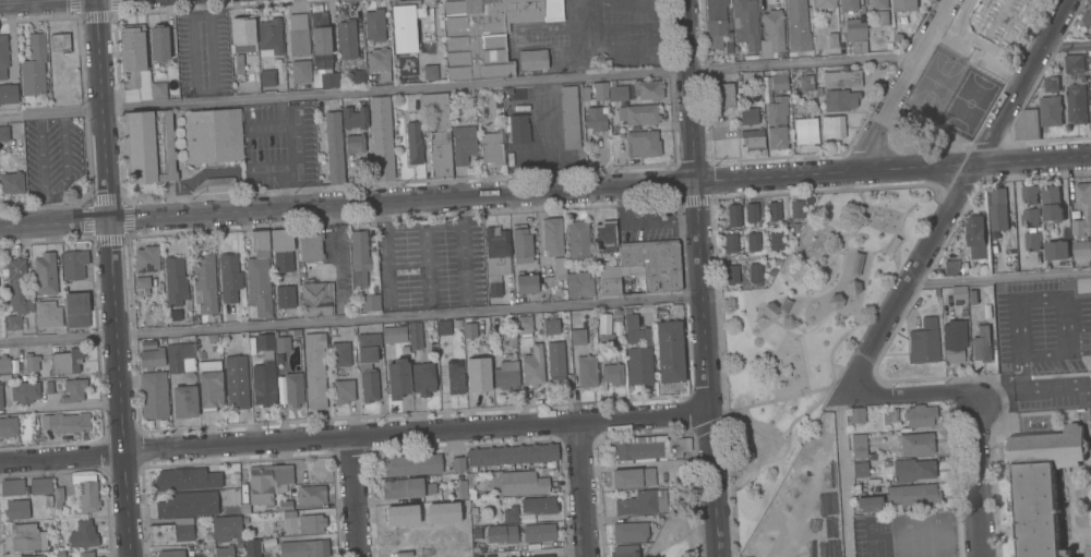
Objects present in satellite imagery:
road: (37, 1)
building: (824, 3)
building: (880, 3)
building: (848, 4)
building: (904, 9)
building: (883, 17)
building: (1087, 17)
building: (716, 22)
building: (745, 23)
building: (405, 25)
building: (376, 26)
building: (796, 27)
building: (853, 29)
building: (487, 33)
building: (242, 34)
building: (771, 34)
building: (298, 35)
building: (269, 38)
building: (898, 38)
building: (347, 39)
building: (831, 39)
building: (320, 40)
building: (59, 44)
building: (158, 44)
road: (1066, 45)
building: (859, 47)
building: (890, 47)
building: (425, 48)
building: (3, 57)
building: (1089, 59)
building: (532, 60)
building: (134, 62)
building: (238, 62)
building: (379, 62)
building: (1074, 63)
building: (33, 66)
building: (300, 72)
building: (429, 72)
park: (967, 72)
building: (356, 76)
building: (267, 77)
building: (1090, 78)
building: (328, 80)
building: (805, 82)
building: (370, 83)
building: (778, 83)
road: (899, 83)
building: (1052, 84)
road: (456, 86)
building: (647, 89)
road: (688, 89)
building: (158, 90)
building: (840, 90)
building: (600, 92)
building: (8, 94)
building: (620, 94)
building: (586, 96)
building: (722, 96)
building: (1090, 98)
building: (1076, 104)
building: (1030, 109)
building: (777, 111)
building: (1050, 111)
building: (637, 116)
building: (747, 116)
building: (355, 118)
building: (568, 118)
building: (595, 119)
building: (1027, 125)
building: (831, 126)
building: (518, 129)
building: (805, 131)
building: (3, 133)
building: (212, 135)
building: (439, 136)
building: (381, 137)
building: (777, 137)
building: (753, 140)
building: (412, 143)
building: (355, 144)
building: (463, 144)
building: (643, 144)
building: (169, 146)
building: (144, 147)
building: (334, 147)
building: (491, 148)
road: (289, 157)
building: (525, 157)
road: (892, 168)
building: (11, 183)
building: (215, 185)
road: (955, 195)
building: (1030, 195)
road: (47, 196)
road: (347, 204)
building: (1052, 204)
building: (795, 209)
building: (997, 209)
road: (43, 211)
building: (774, 211)
building: (751, 213)
building: (1087, 215)
building: (1030, 217)
building: (730, 218)
road: (420, 223)
road: (642, 223)
building: (794, 227)
building: (976, 231)
building: (995, 234)
building: (551, 237)
building: (606, 237)
building: (577, 240)
building: (254, 241)
building: (776, 241)
building: (1032, 241)
building: (753, 242)
building: (520, 243)
building: (730, 243)
building: (310, 246)
road: (460, 247)
building: (1081, 249)
building: (281, 250)
building: (1056, 250)
road: (383, 253)
building: (359, 258)
building: (495, 258)
building: (146, 259)
road: (714, 261)
building: (73, 265)
building: (559, 266)
building: (651, 266)
building: (951, 268)
building: (300, 269)
building: (755, 273)
building: (45, 274)
building: (301, 275)
building: (732, 275)
building: (229, 277)
road: (112, 278)
road: (997, 278)
building: (204, 280)
building: (610, 280)
building: (175, 281)
building: (142, 282)
building: (526, 283)
building: (579, 284)
building: (259, 286)
building: (16, 292)
building: (958, 294)
building: (285, 295)
building: (972, 296)
building: (316, 299)
road: (425, 302)
building: (370, 303)
road: (466, 306)
building: (76, 310)
road: (387, 312)
building: (618, 313)
building: (47, 314)
building: (175, 315)
building: (159, 319)
building: (195, 319)
road: (350, 320)
building: (601, 324)
building: (524, 326)
building: (443, 327)
building: (551, 327)
building: (469, 330)
park: (806, 330)
building: (296, 332)
building: (393, 335)
building: (415, 336)
building: (577, 337)
building: (512, 340)
building: (954, 341)
building: (607, 342)
building: (924, 342)
building: (981, 343)
building: (147, 344)
building: (283, 344)
road: (832, 347)
building: (637, 351)
building: (670, 352)
building: (340, 354)
building: (181, 358)
building: (152, 359)
building: (555, 360)
building: (31, 362)
building: (67, 362)
building: (368, 365)
building: (3, 366)
building: (13, 366)
building: (532, 366)
road: (705, 368)
building: (314, 370)
building: (263, 372)
building: (586, 372)
building: (478, 374)
building: (612, 374)
building: (506, 375)
road: (856, 375)
building: (397, 378)
road: (969, 378)
building: (422, 379)
building: (455, 379)
building: (236, 382)
building: (209, 385)
building: (67, 389)
building: (293, 389)
road: (1029, 389)
road: (837, 390)
building: (24, 391)
building: (343, 391)
road: (906, 395)
building: (153, 396)
building: (1, 399)
road: (775, 400)
building: (184, 401)
road: (65, 408)
building: (920, 415)
building: (856, 416)
building: (65, 423)
road: (708, 426)
building: (8, 427)
road: (352, 436)
building: (916, 444)
building: (859, 447)
building: (649, 449)
building: (512, 455)
building: (871, 456)
building: (744, 457)
building: (458, 463)
building: (410, 464)
building: (860, 470)
building: (912, 470)
road: (840, 474)
road: (973, 474)
building: (633, 477)
building: (185, 480)
building: (267, 482)
building: (515, 484)
building: (1042, 485)
building: (40, 486)
building: (470, 486)
building: (12, 488)
building: (407, 488)
building: (461, 489)
road: (582, 489)
building: (86, 493)
road: (695, 494)
building: (311, 495)
building: (911, 496)
building: (58, 497)
road: (355, 497)
building: (642, 502)
building: (867, 504)
building: (188, 505)
building: (285, 505)
building: (539, 506)
building: (16, 510)
building: (442, 513)
building: (511, 514)
building: (400, 516)
road: (181, 521)
road: (195, 521)
road: (151, 523)
building: (56, 524)
building: (311, 524)
road: (691, 526)
park: (676, 528)
building: (226, 529)
building: (630, 532)
building: (170, 533)
building: (539, 533)
building: (501, 534)
building: (83, 535)
building: (24, 538)
road: (669, 544)
road: (687, 545)
building: (252, 548)
building: (303, 548)
building: (624, 550)
building: (1090, 550)
building: (1066, 552)
building: (171, 553)
building: (224, 553)
building: (86, 554)
building: (35, 556)
building: (541, 556)

